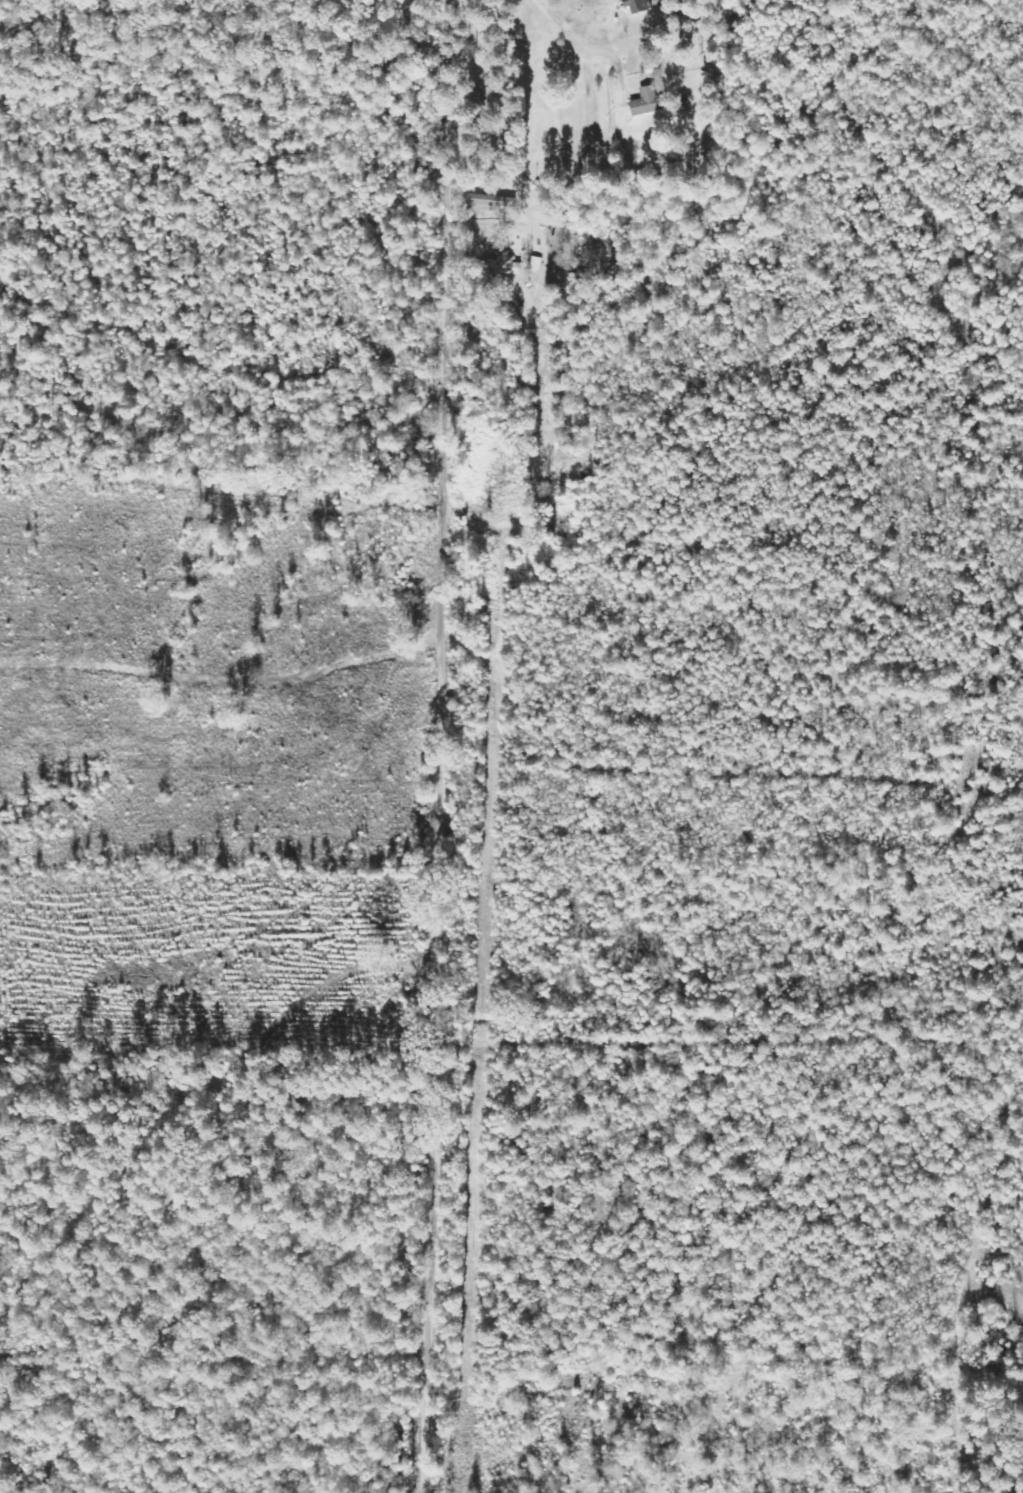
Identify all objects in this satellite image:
building: (636, 5)
road: (570, 36)
building: (644, 103)
building: (535, 264)
building: (509, 265)
road: (430, 746)

